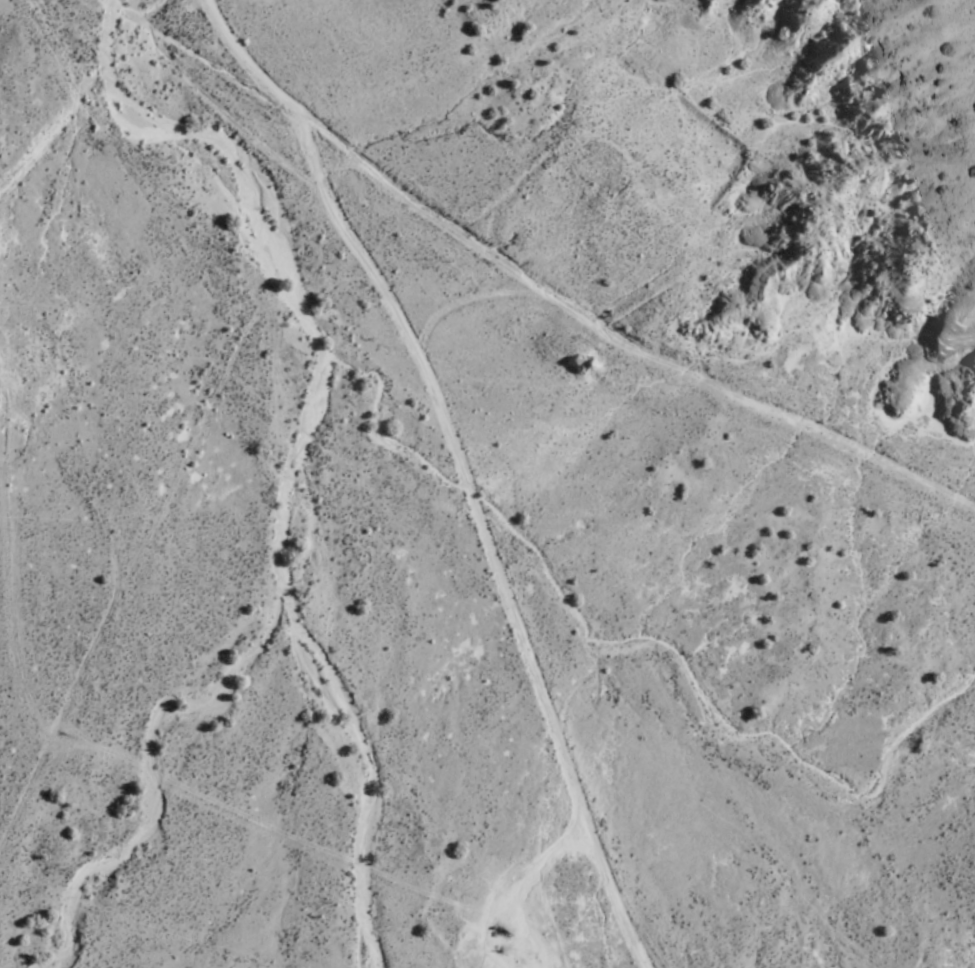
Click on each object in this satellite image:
road: (134, 12)
road: (158, 12)
road: (245, 57)
road: (222, 67)
road: (95, 155)
river: (269, 237)
road: (620, 329)
road: (481, 533)

